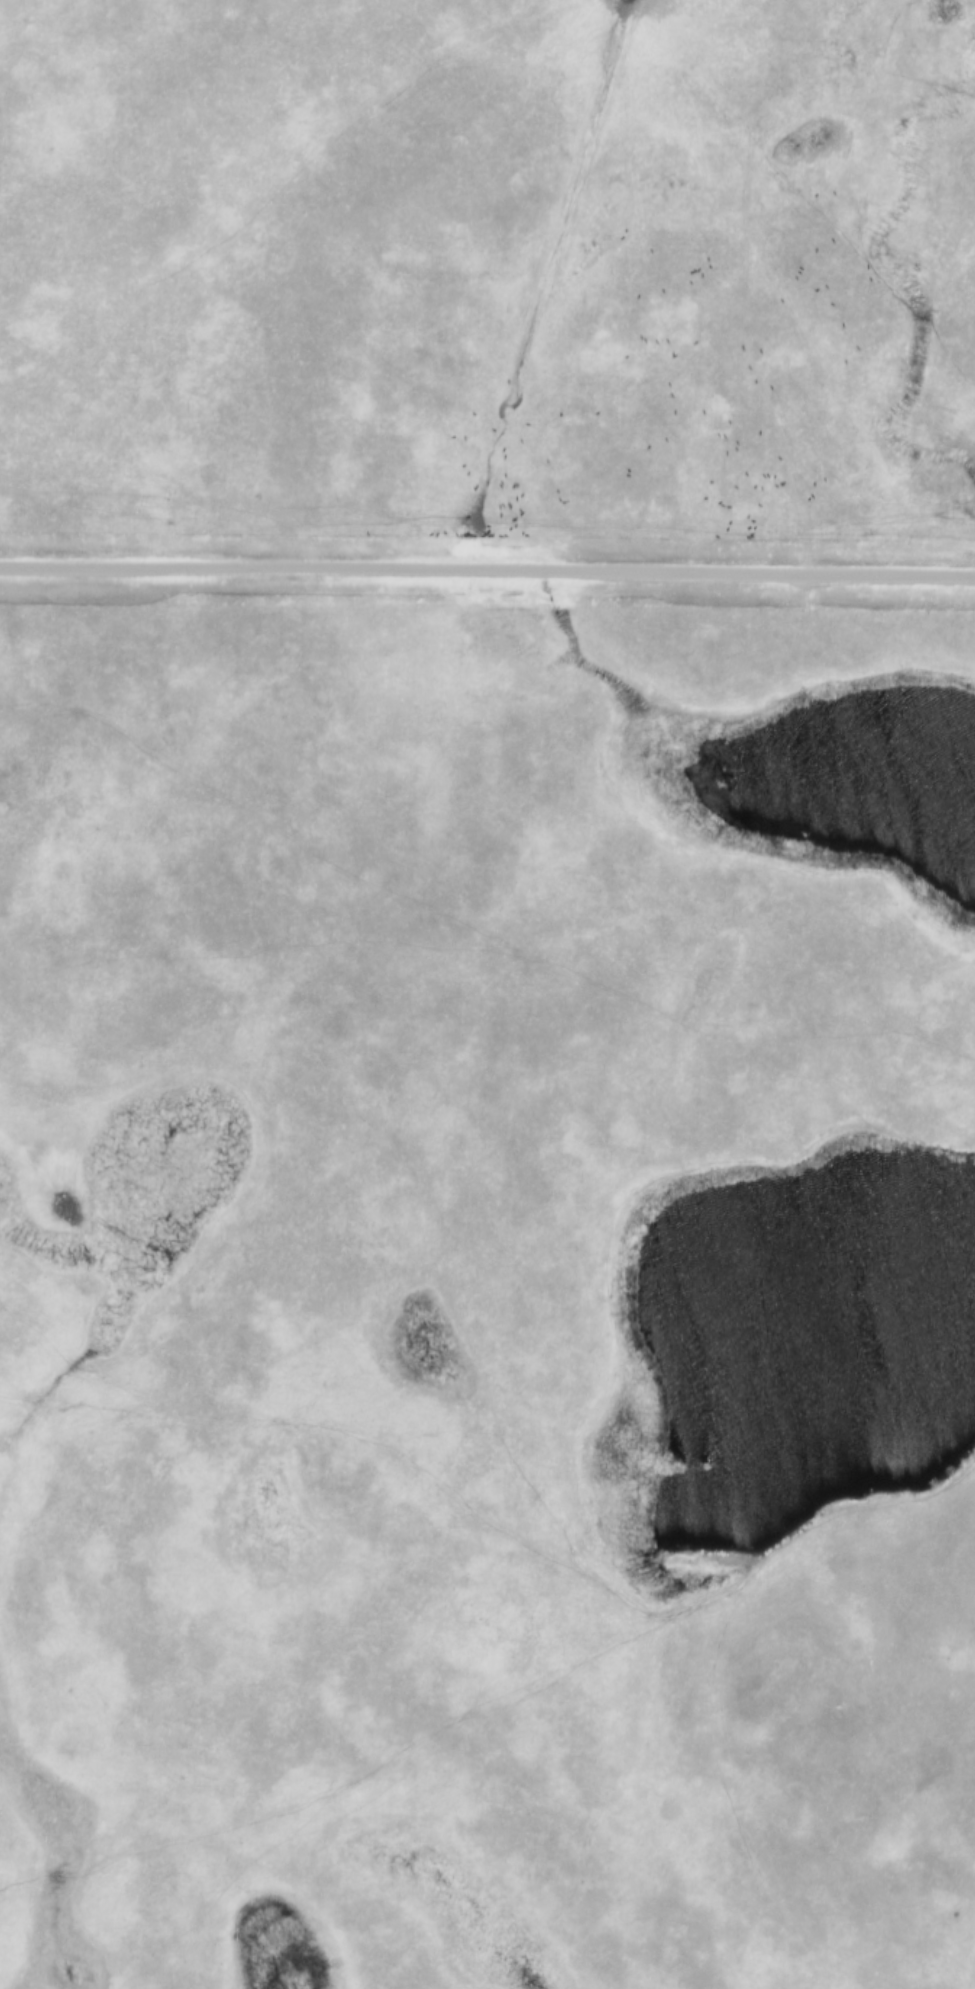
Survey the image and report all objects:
road: (487, 573)

